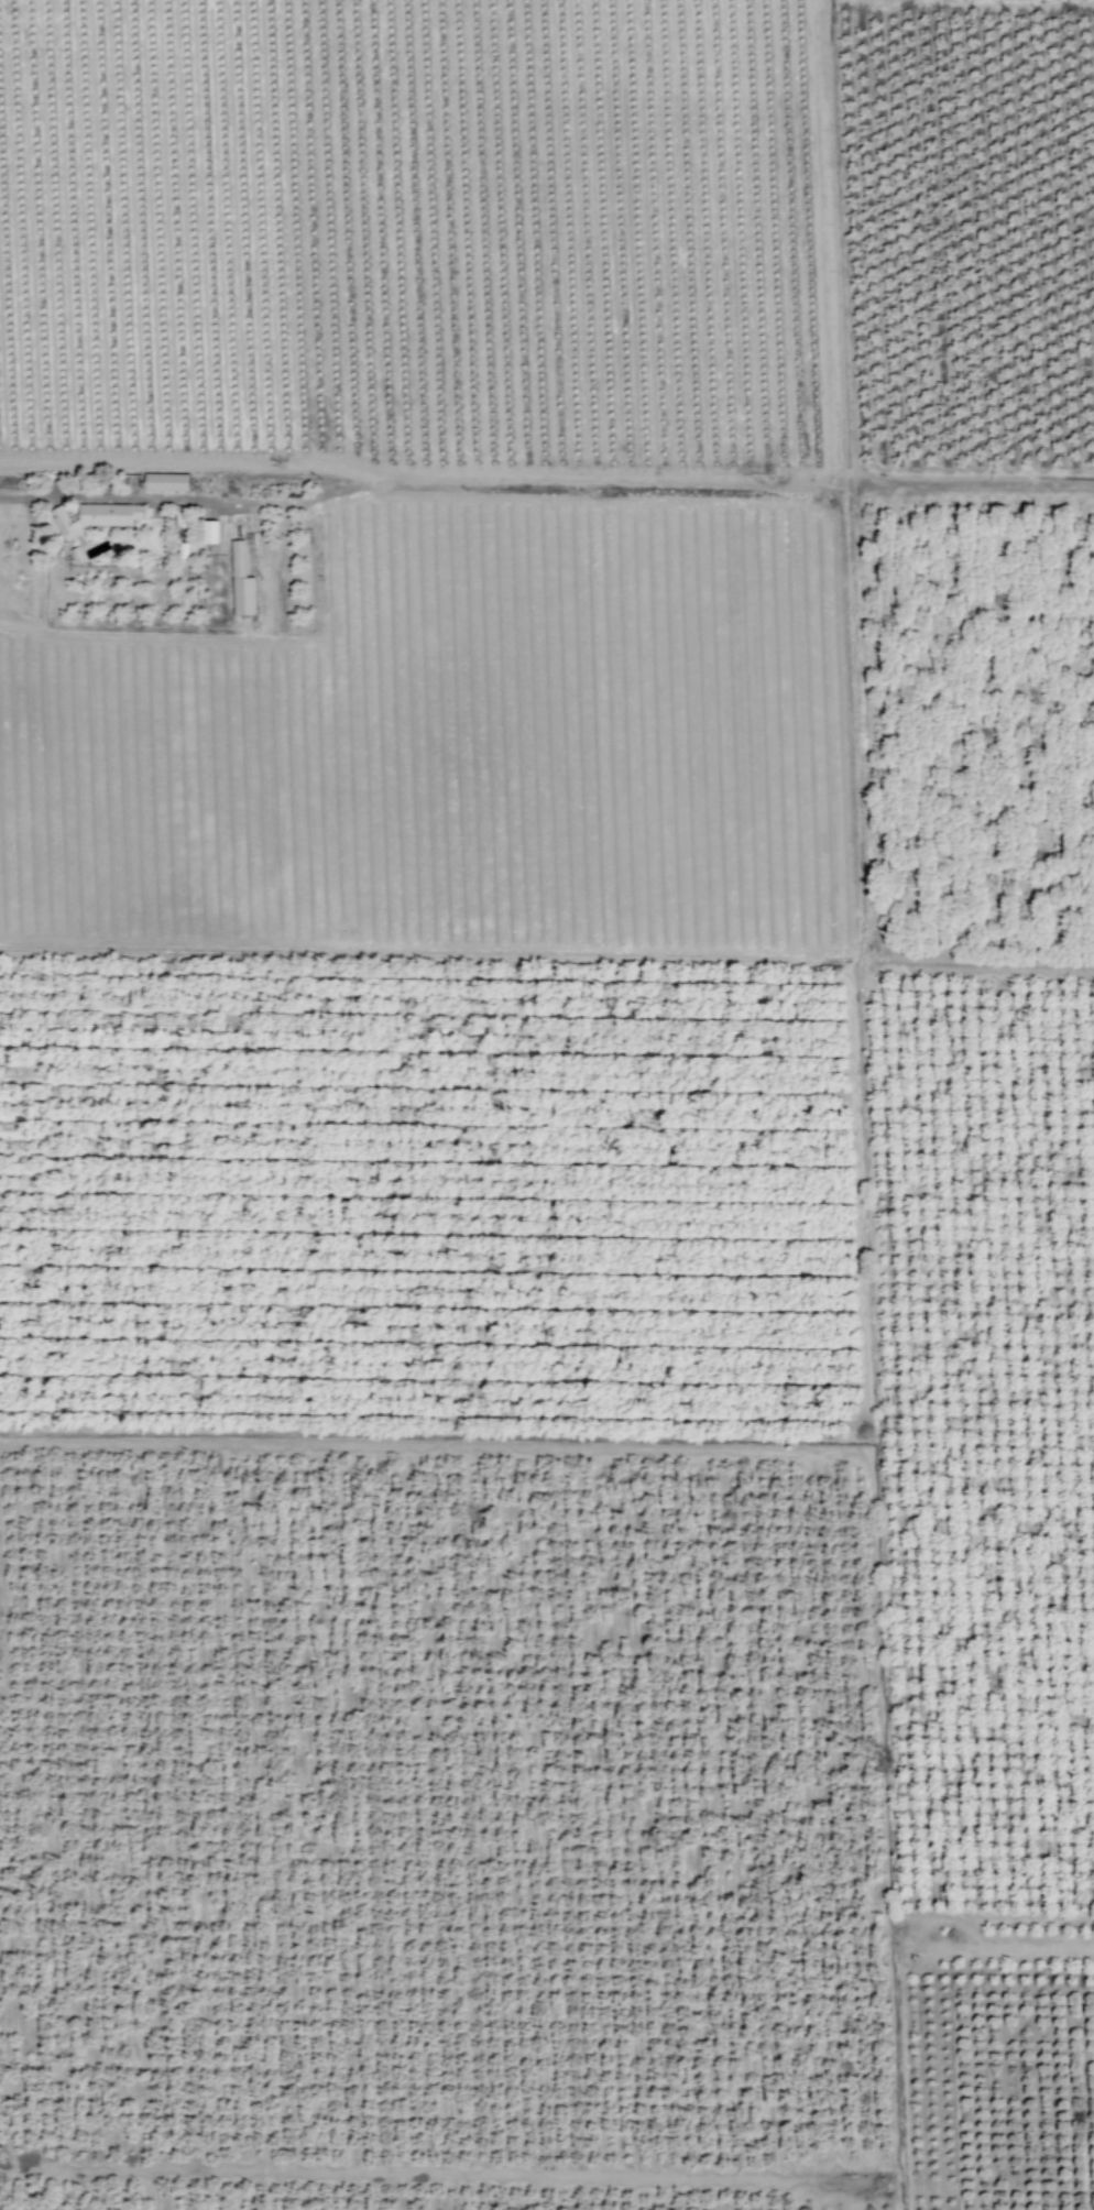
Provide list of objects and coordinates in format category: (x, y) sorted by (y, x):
building: (167, 482)
building: (95, 518)
building: (211, 532)
building: (598, 555)
building: (239, 559)
road: (983, 962)

